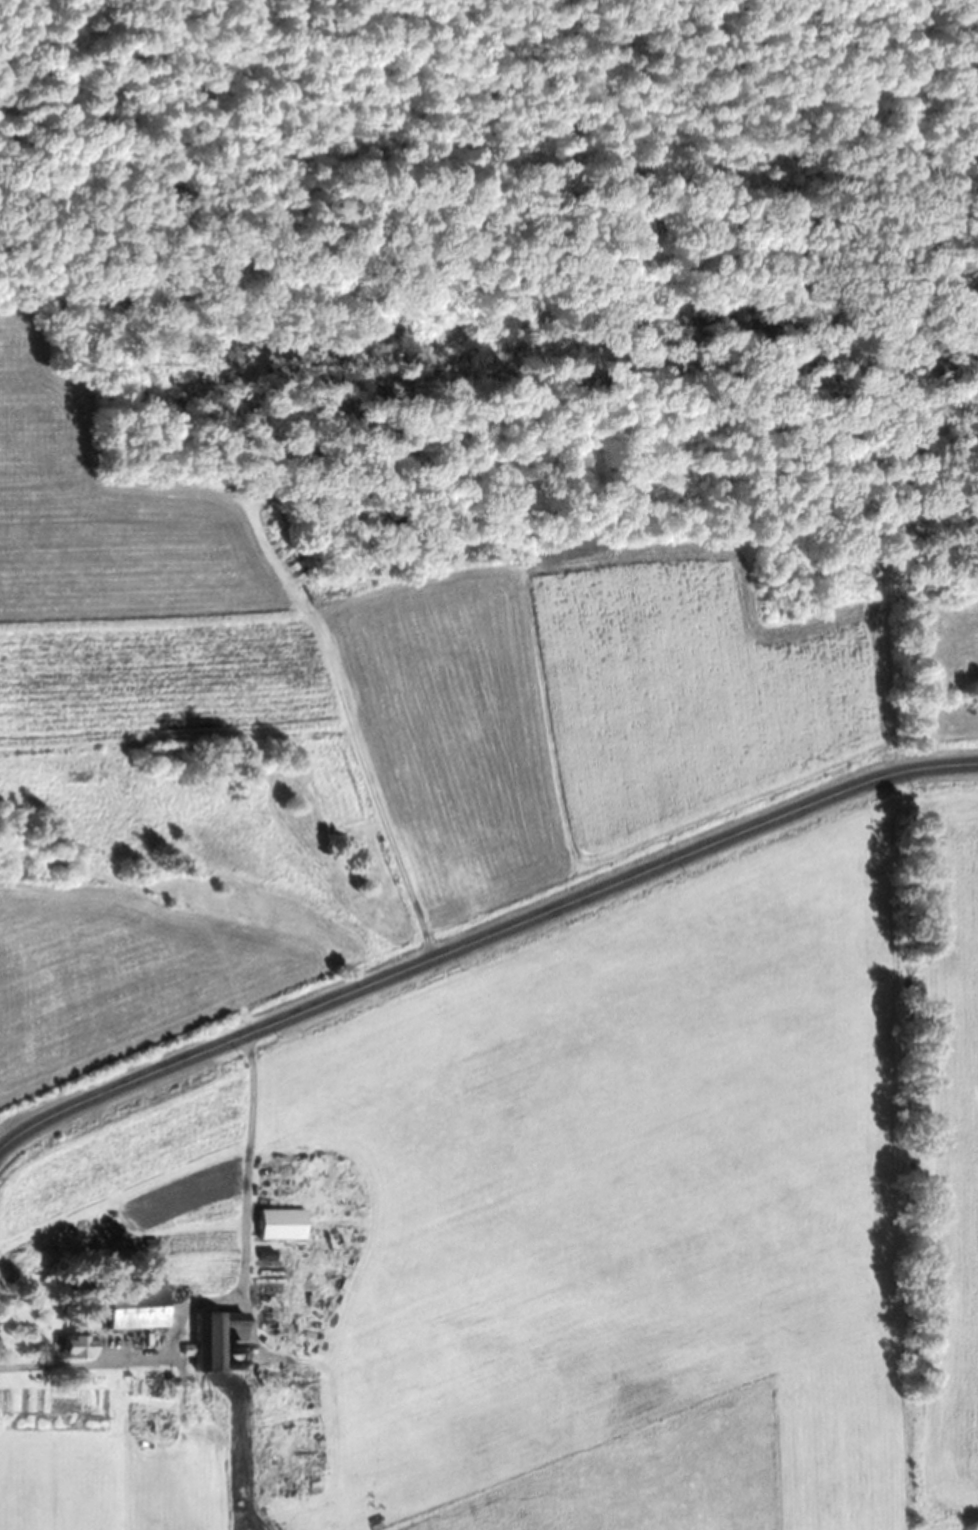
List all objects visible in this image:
road: (483, 934)
building: (285, 1223)
building: (277, 1273)
building: (141, 1307)
building: (221, 1336)
building: (82, 1346)

